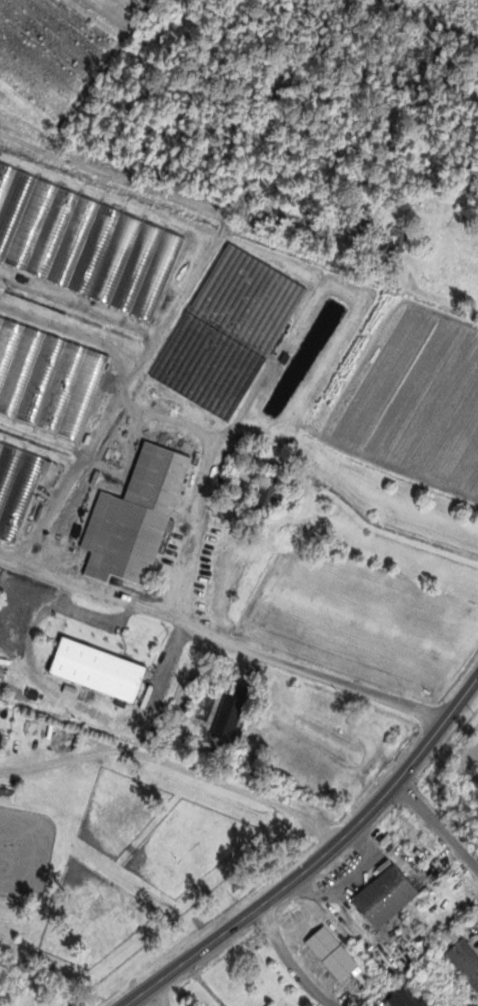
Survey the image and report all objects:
building: (84, 244)
building: (218, 351)
building: (47, 377)
building: (20, 480)
building: (270, 493)
building: (135, 519)
road: (222, 637)
building: (98, 669)
building: (230, 716)
building: (0, 738)
road: (176, 764)
building: (7, 795)
road: (437, 827)
road: (318, 859)
building: (385, 896)
building: (332, 953)
road: (288, 960)
building: (465, 961)
road: (158, 995)
building: (405, 998)

